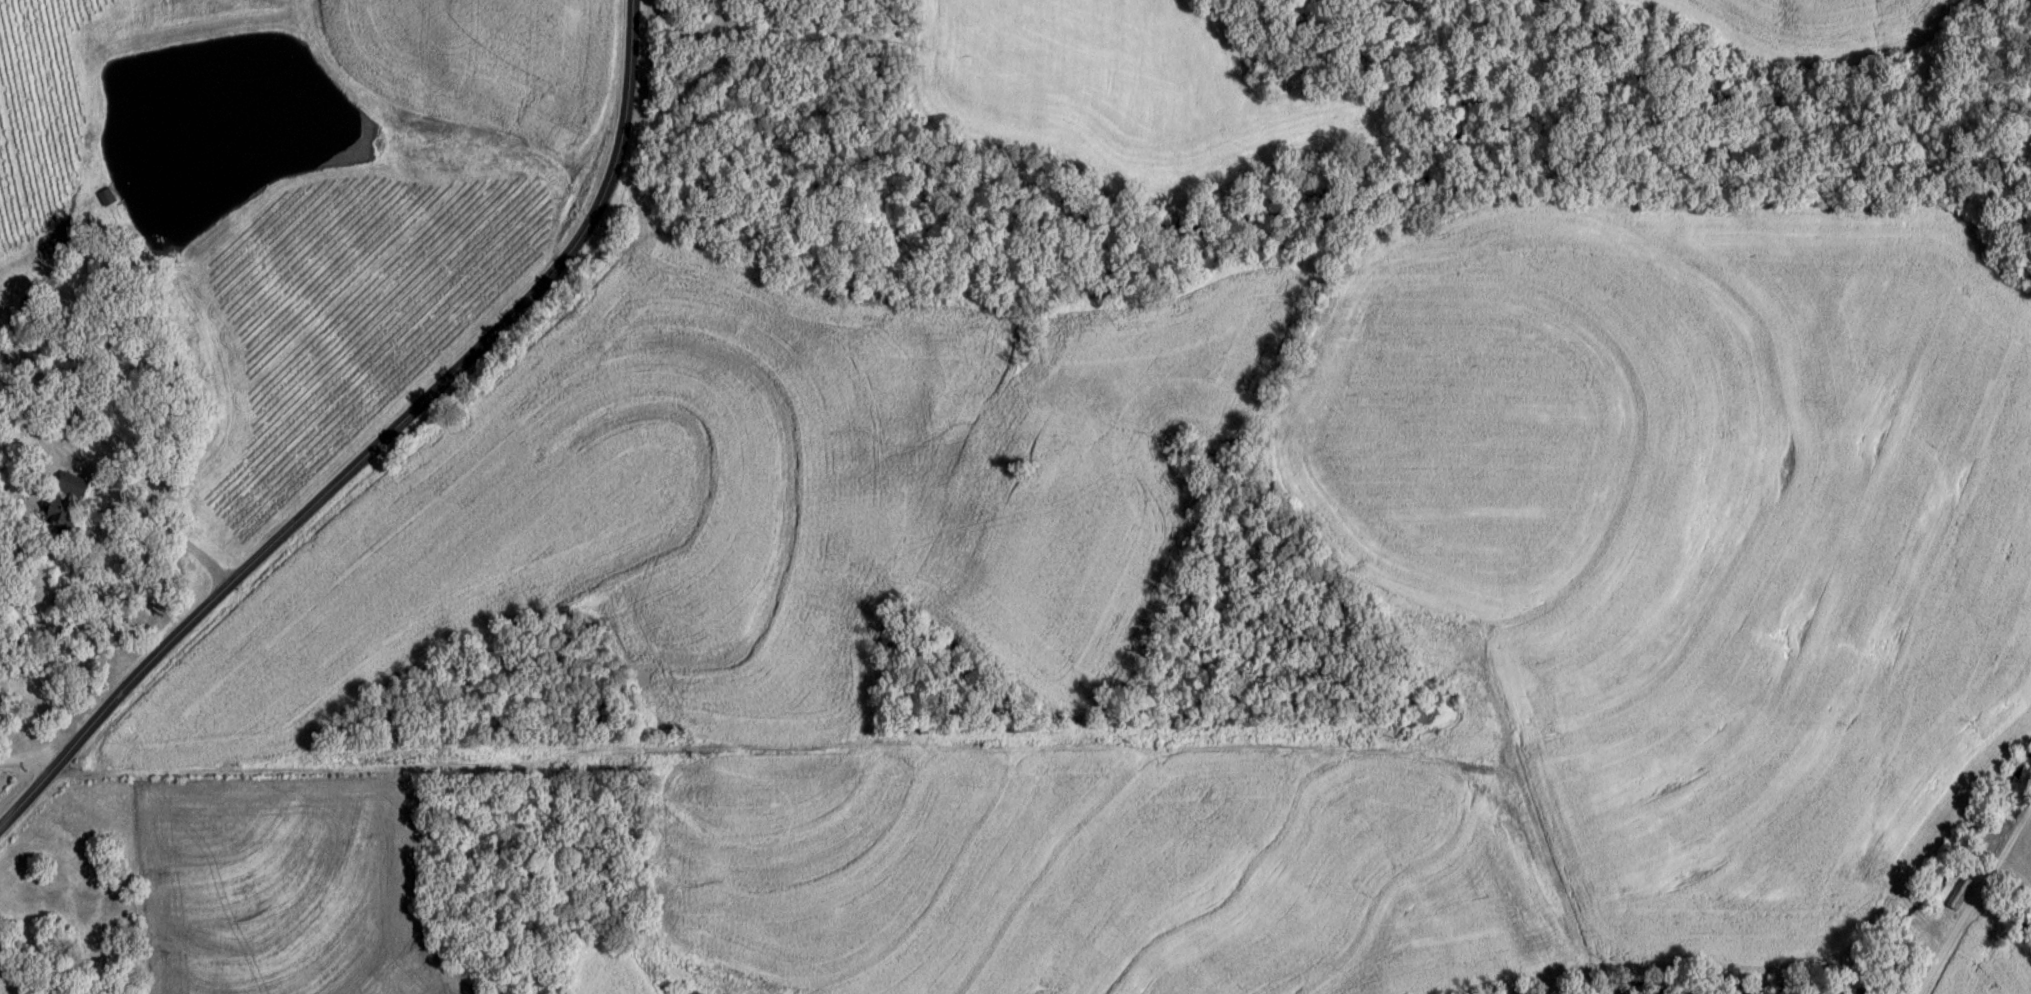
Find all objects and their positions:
road: (392, 474)
road: (1856, 679)
road: (33, 762)

